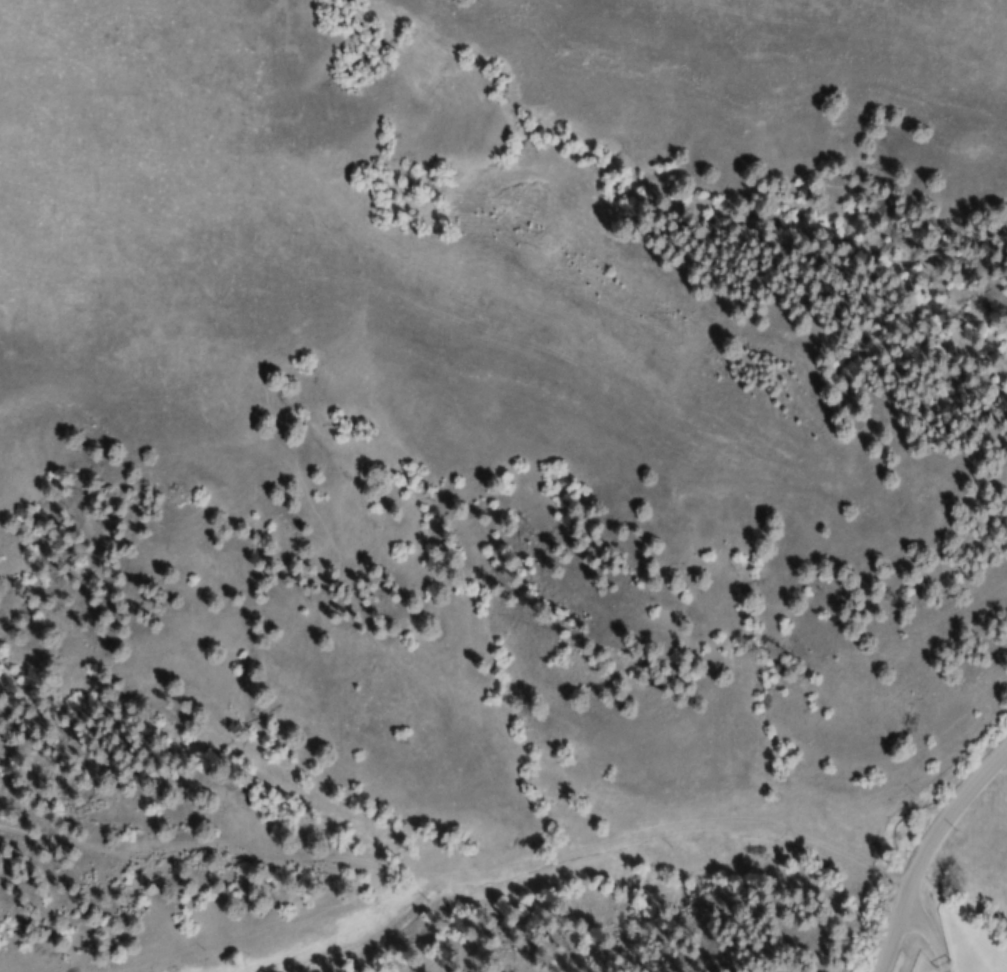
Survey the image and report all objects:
road: (924, 856)

